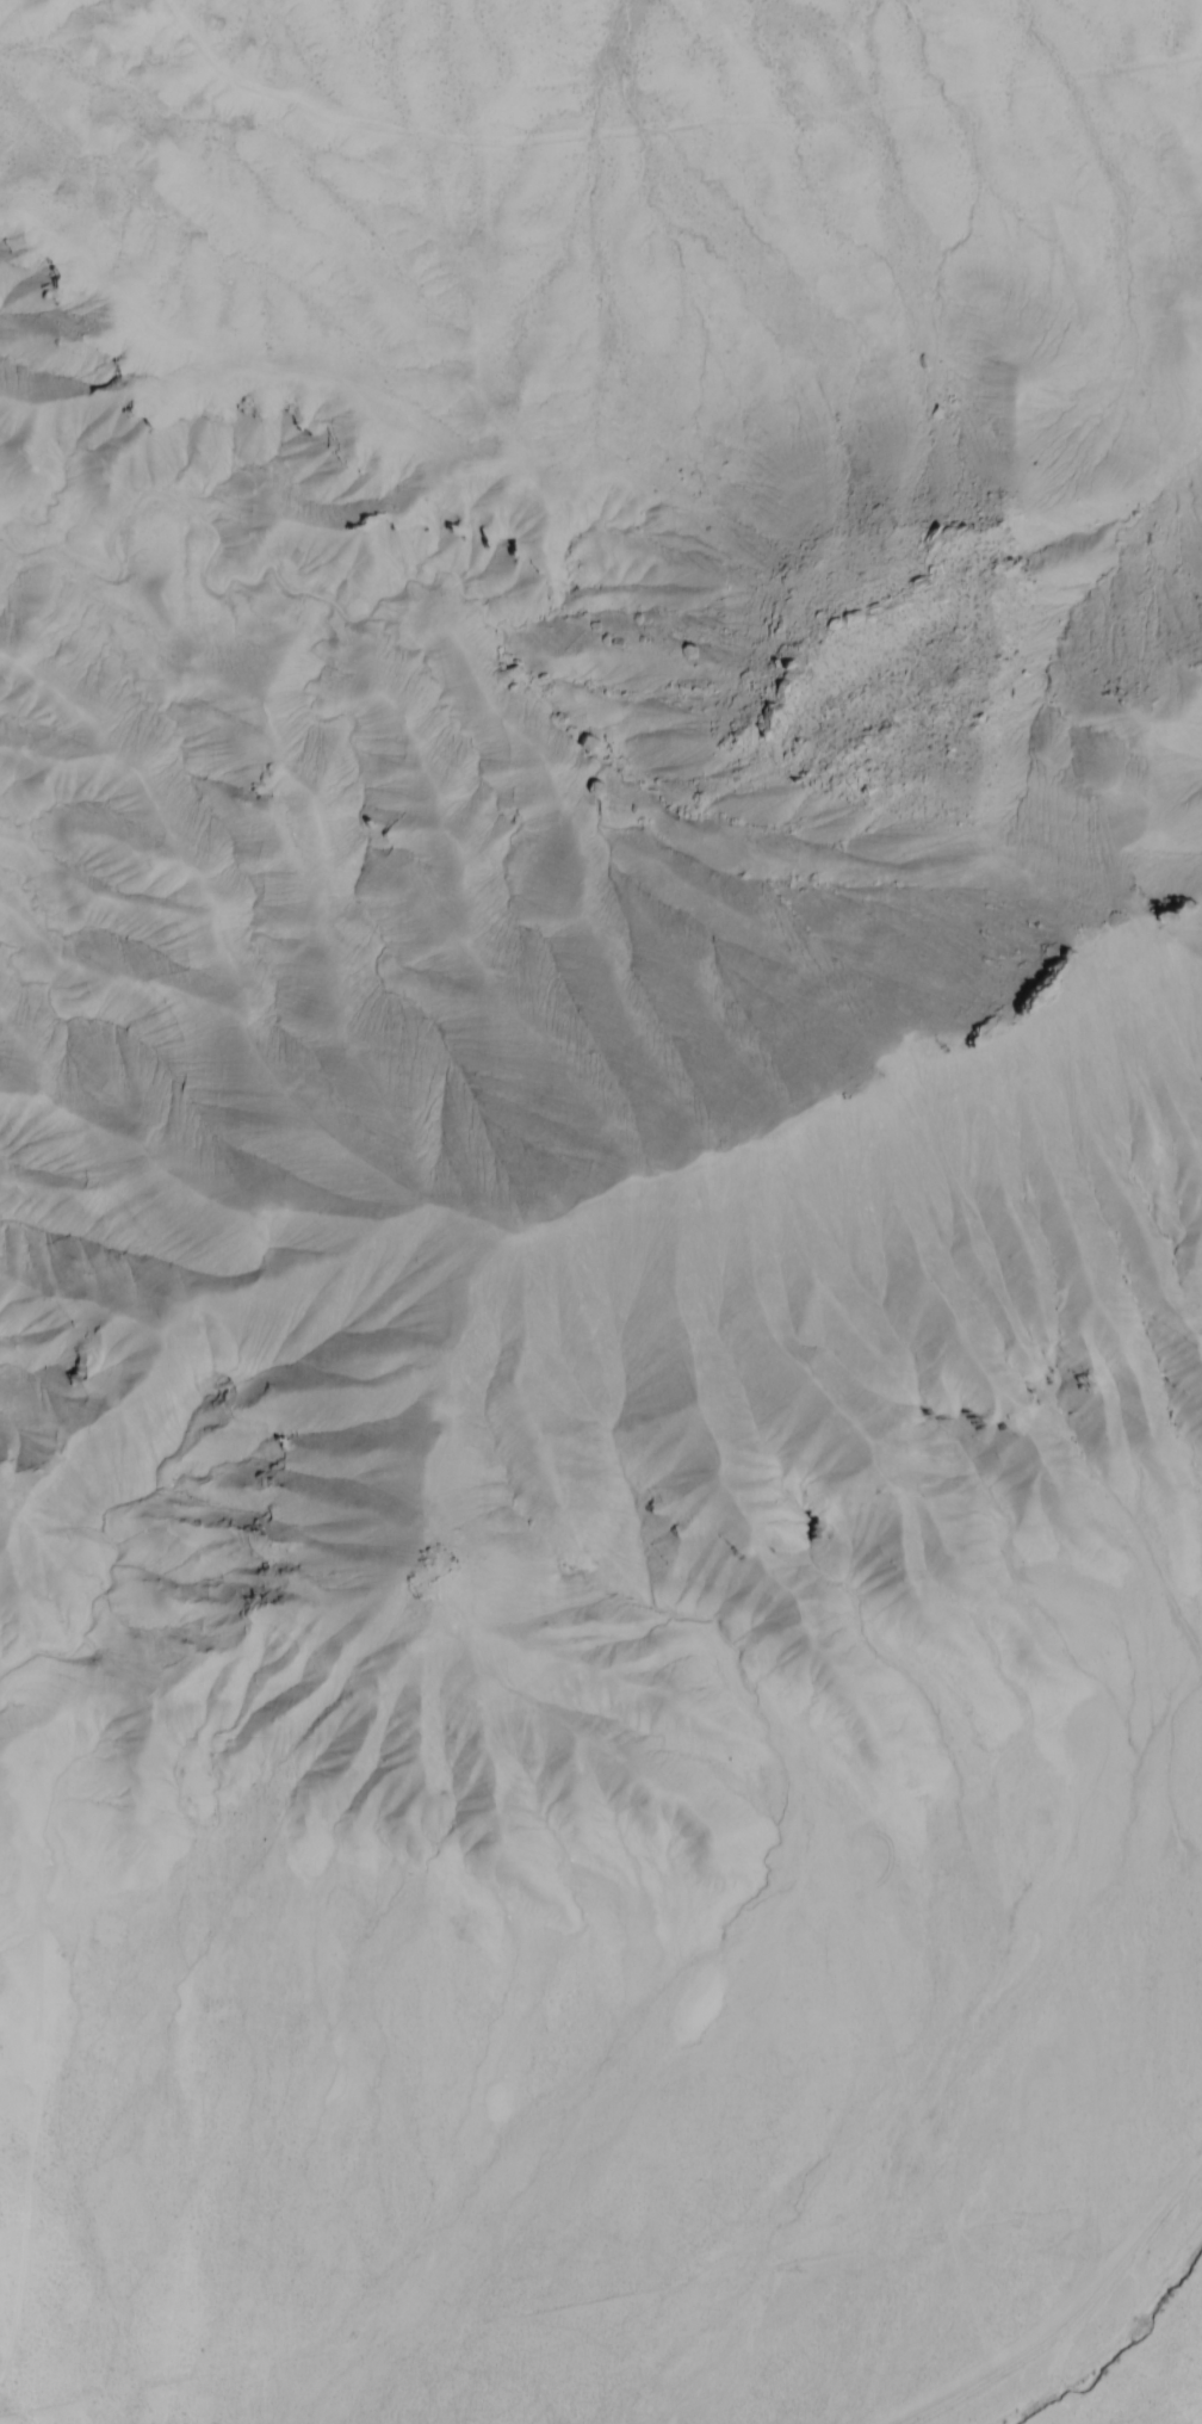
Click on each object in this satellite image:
road: (1145, 2385)

